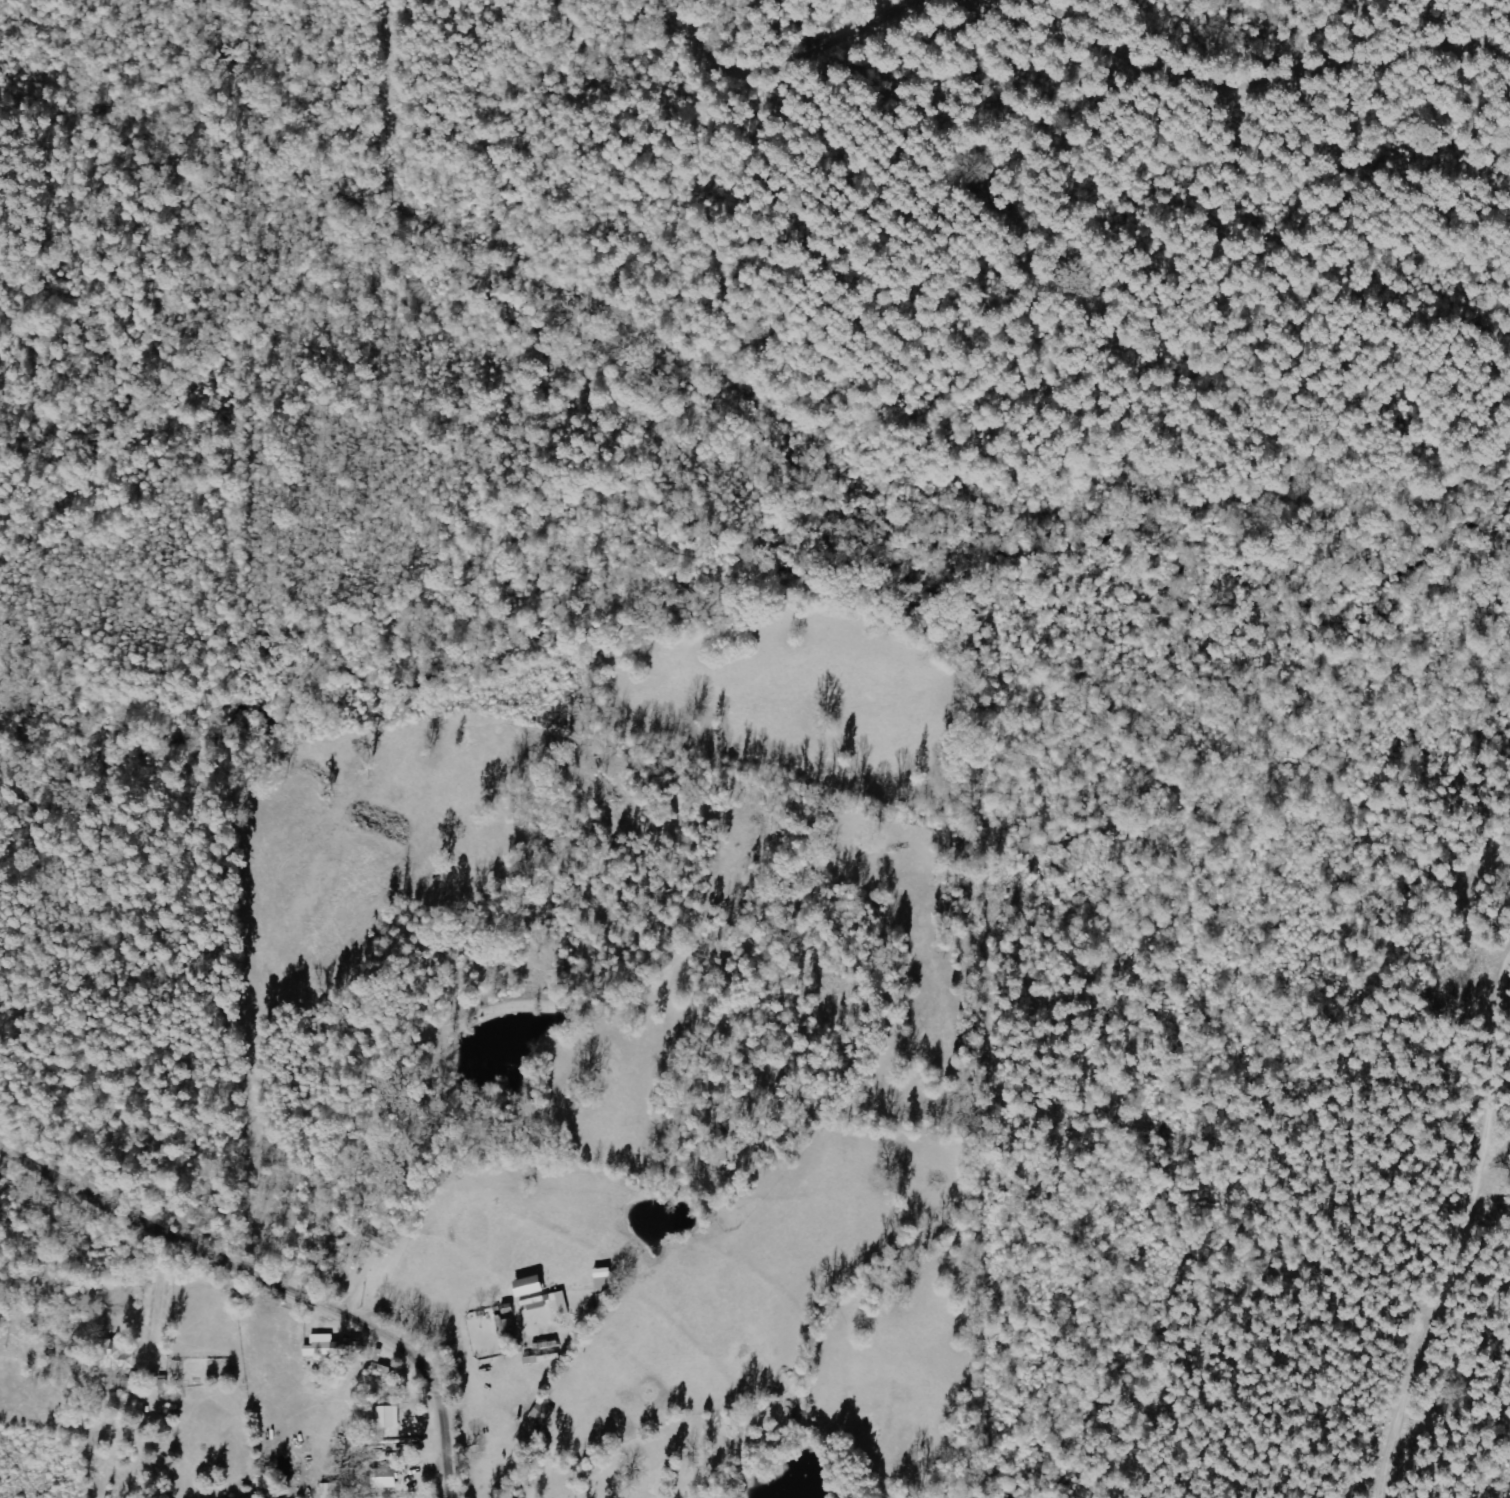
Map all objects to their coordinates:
building: (377, 1244)
road: (277, 1286)
building: (551, 1303)
building: (324, 1347)
building: (116, 1355)
building: (544, 1412)
building: (388, 1417)
building: (383, 1479)
building: (331, 1490)

